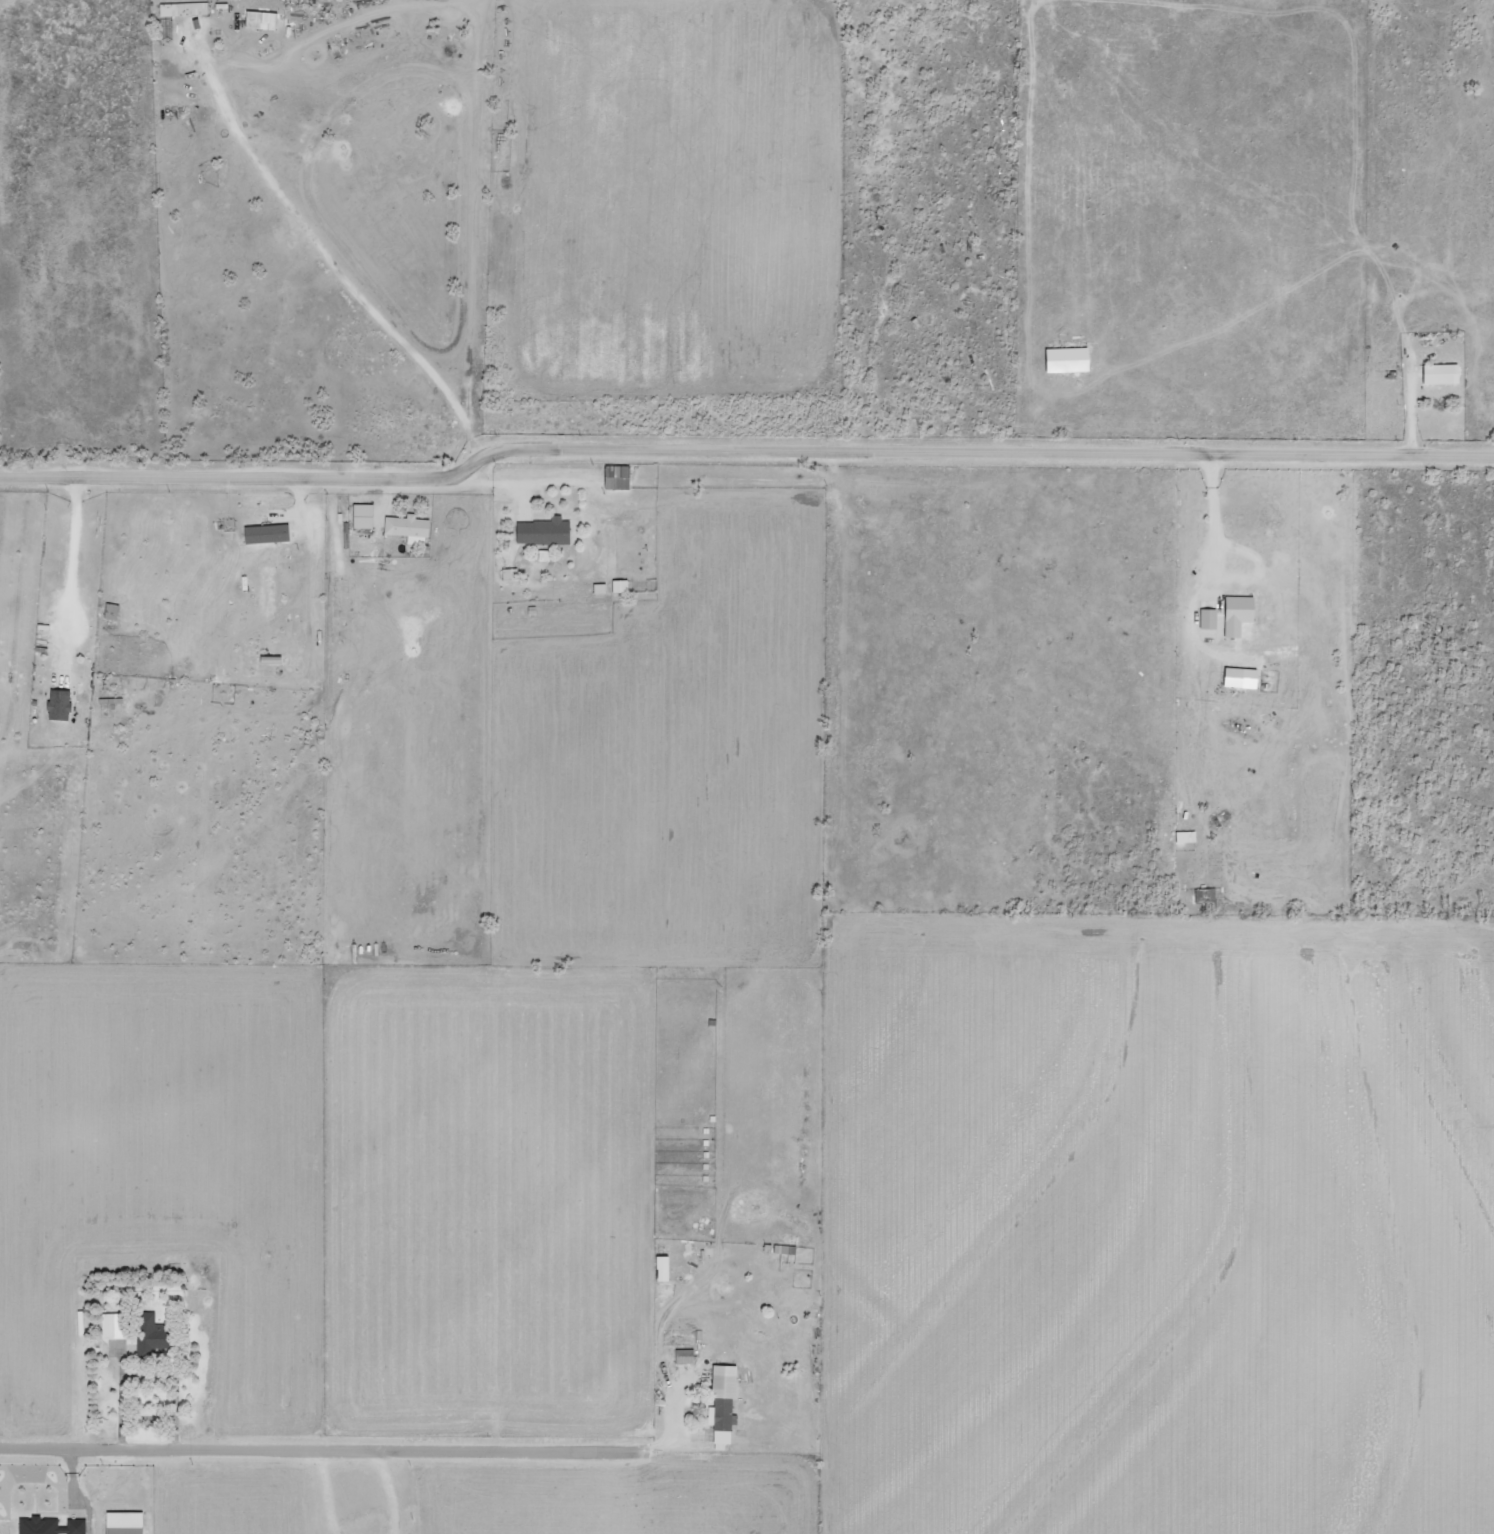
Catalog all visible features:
building: (182, 10)
building: (258, 21)
building: (1065, 360)
building: (1439, 374)
road: (738, 452)
building: (615, 478)
building: (361, 517)
building: (407, 529)
building: (543, 532)
building: (265, 534)
building: (509, 575)
building: (618, 587)
building: (598, 589)
building: (109, 612)
building: (1236, 615)
building: (1207, 620)
building: (1239, 678)
building: (57, 706)
building: (1204, 896)
building: (660, 1269)
building: (110, 1327)
building: (149, 1335)
building: (722, 1407)
road: (271, 1457)
building: (122, 1523)
building: (49, 1526)

